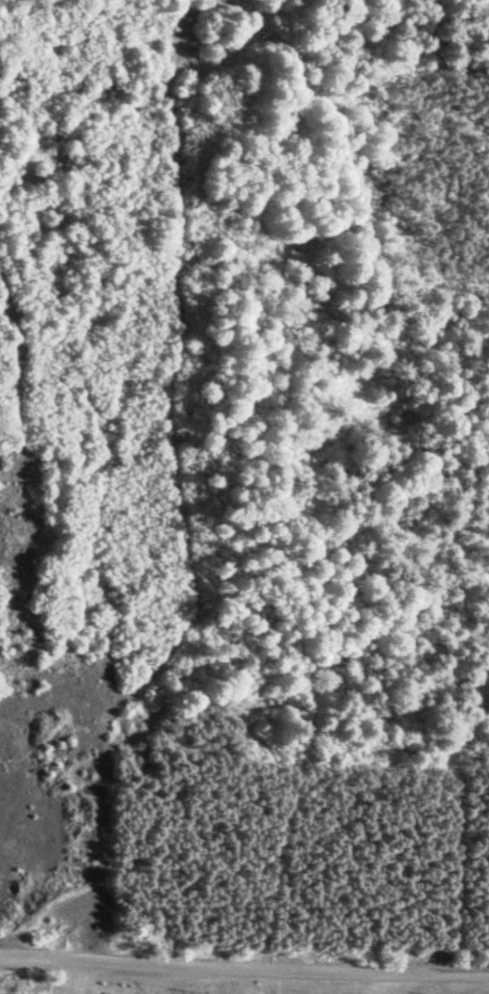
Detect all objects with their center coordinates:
road: (244, 961)

